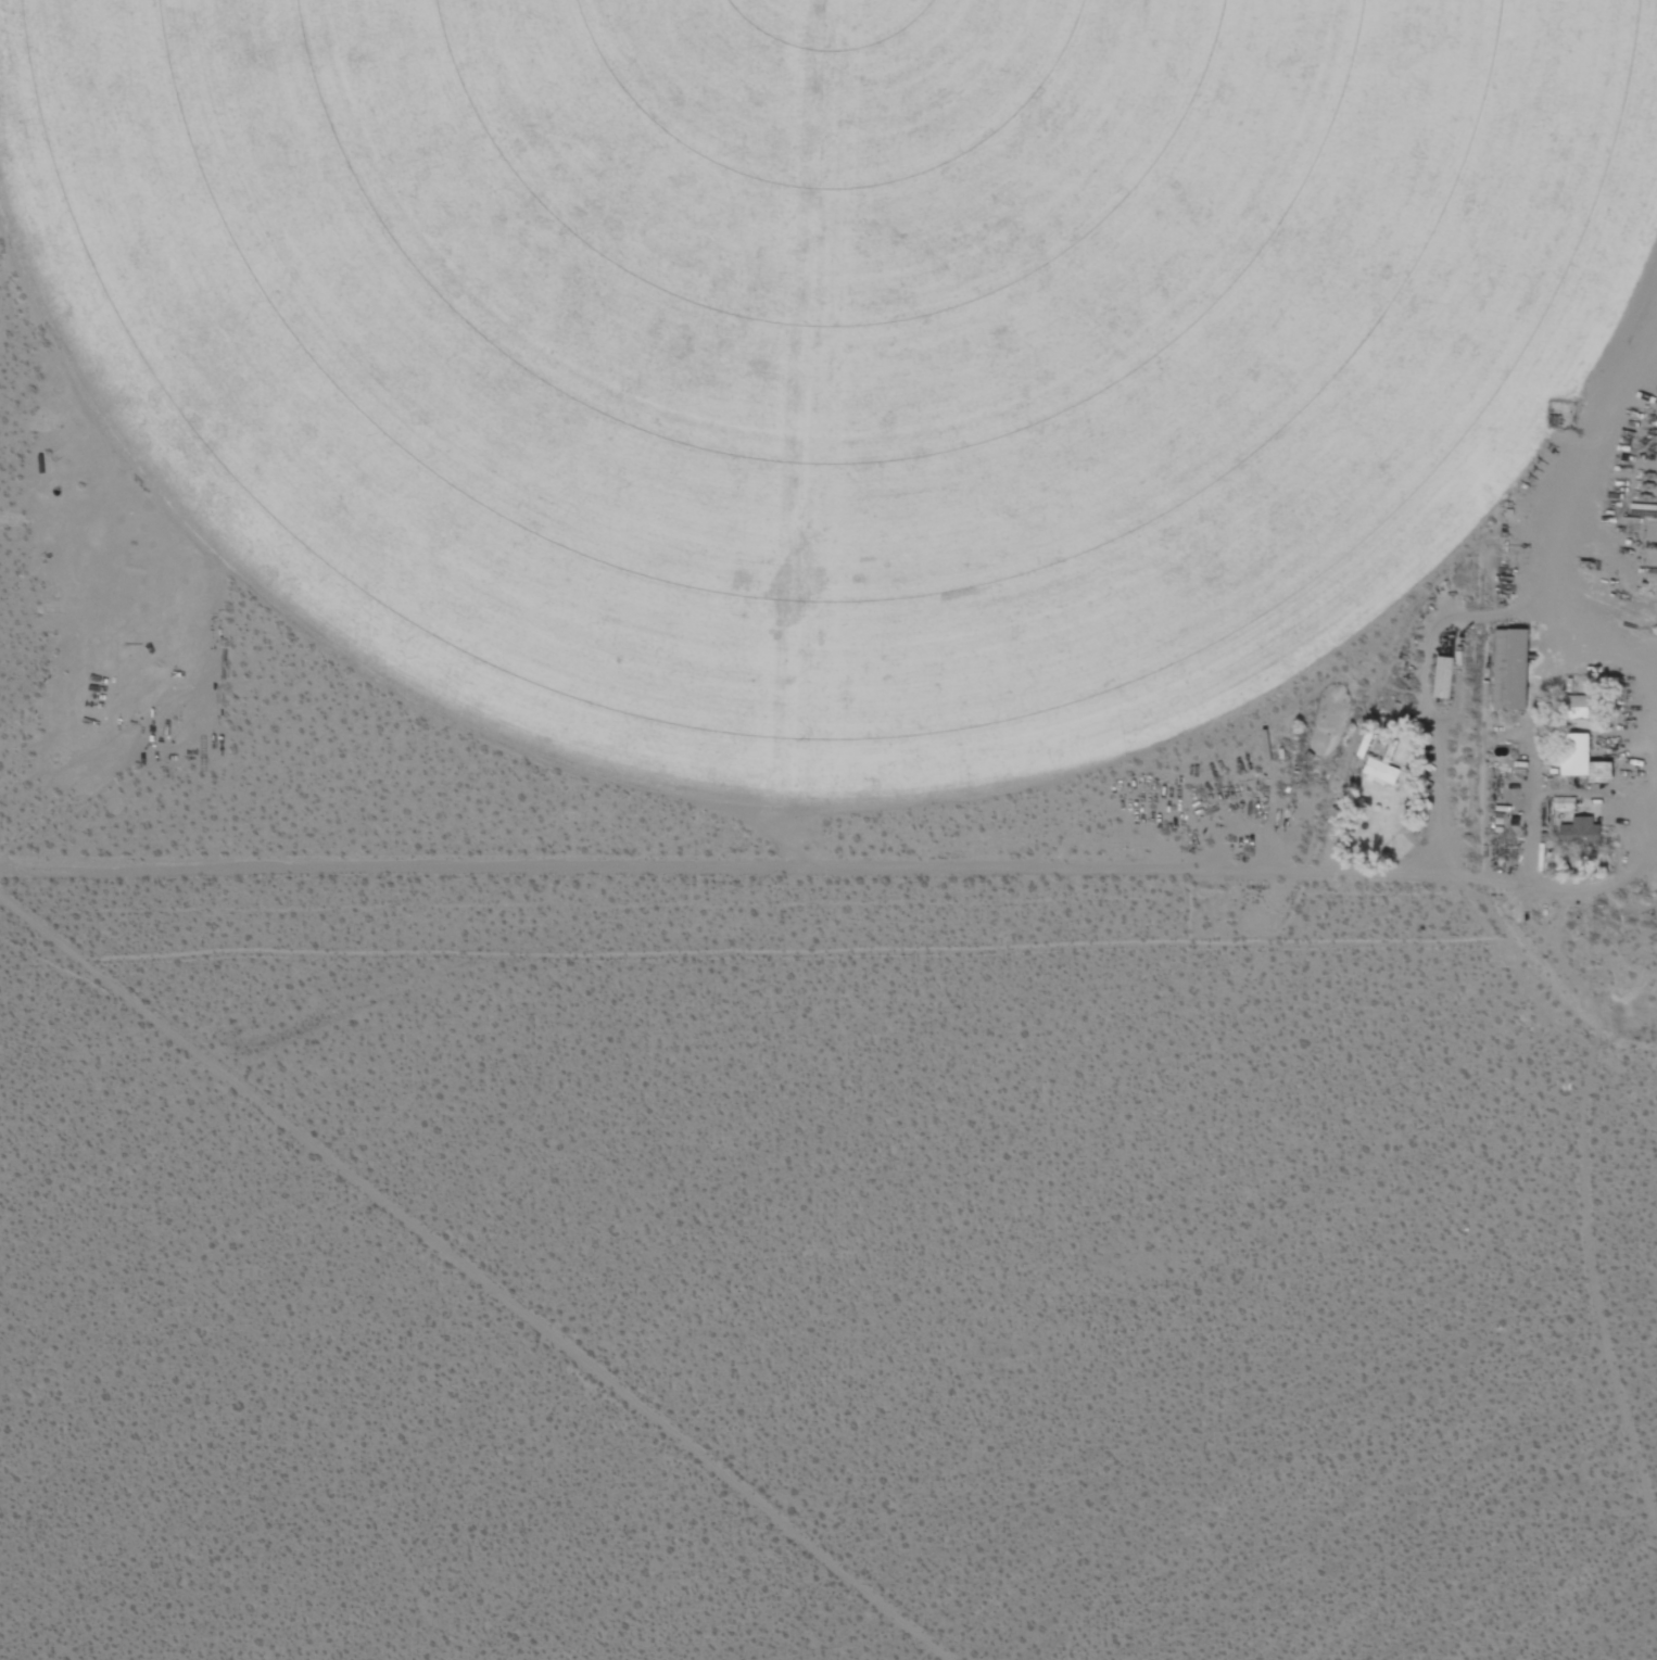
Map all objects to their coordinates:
crop: (827, 351)
building: (1511, 667)
building: (1442, 675)
building: (1580, 701)
building: (1585, 759)
building: (1380, 771)
building: (1581, 831)
road: (719, 863)
road: (480, 1277)

